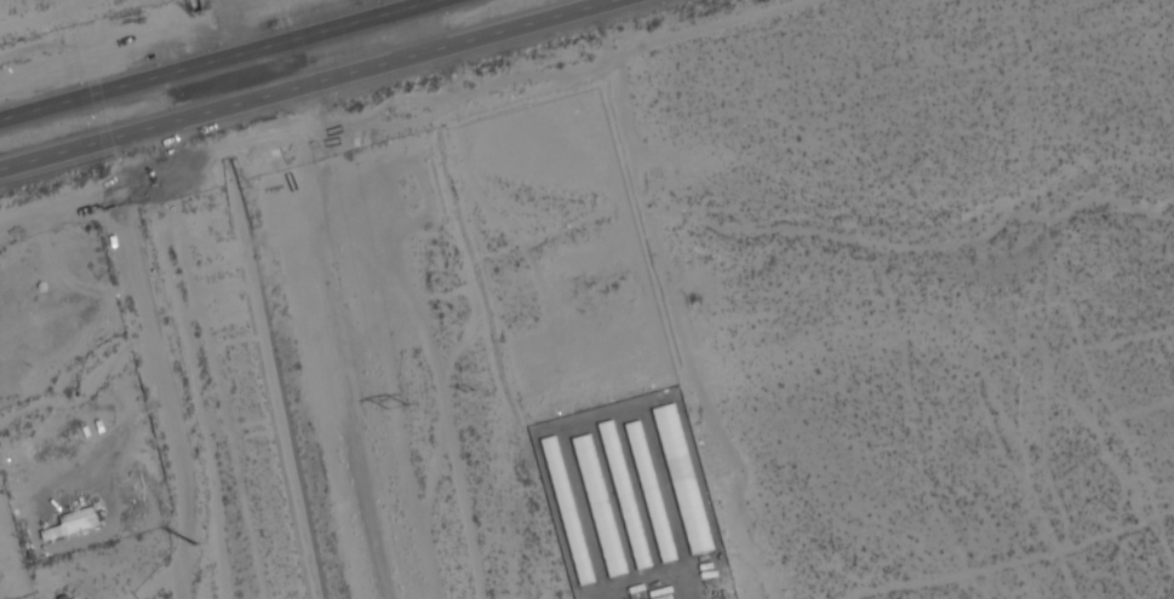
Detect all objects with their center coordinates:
road: (219, 59)
road: (311, 85)
road: (161, 368)
power tower: (468, 393)
power tower: (400, 410)
building: (682, 480)
building: (649, 495)
building: (623, 496)
building: (599, 505)
building: (567, 513)
building: (71, 520)
power tower: (191, 541)
building: (76, 598)

